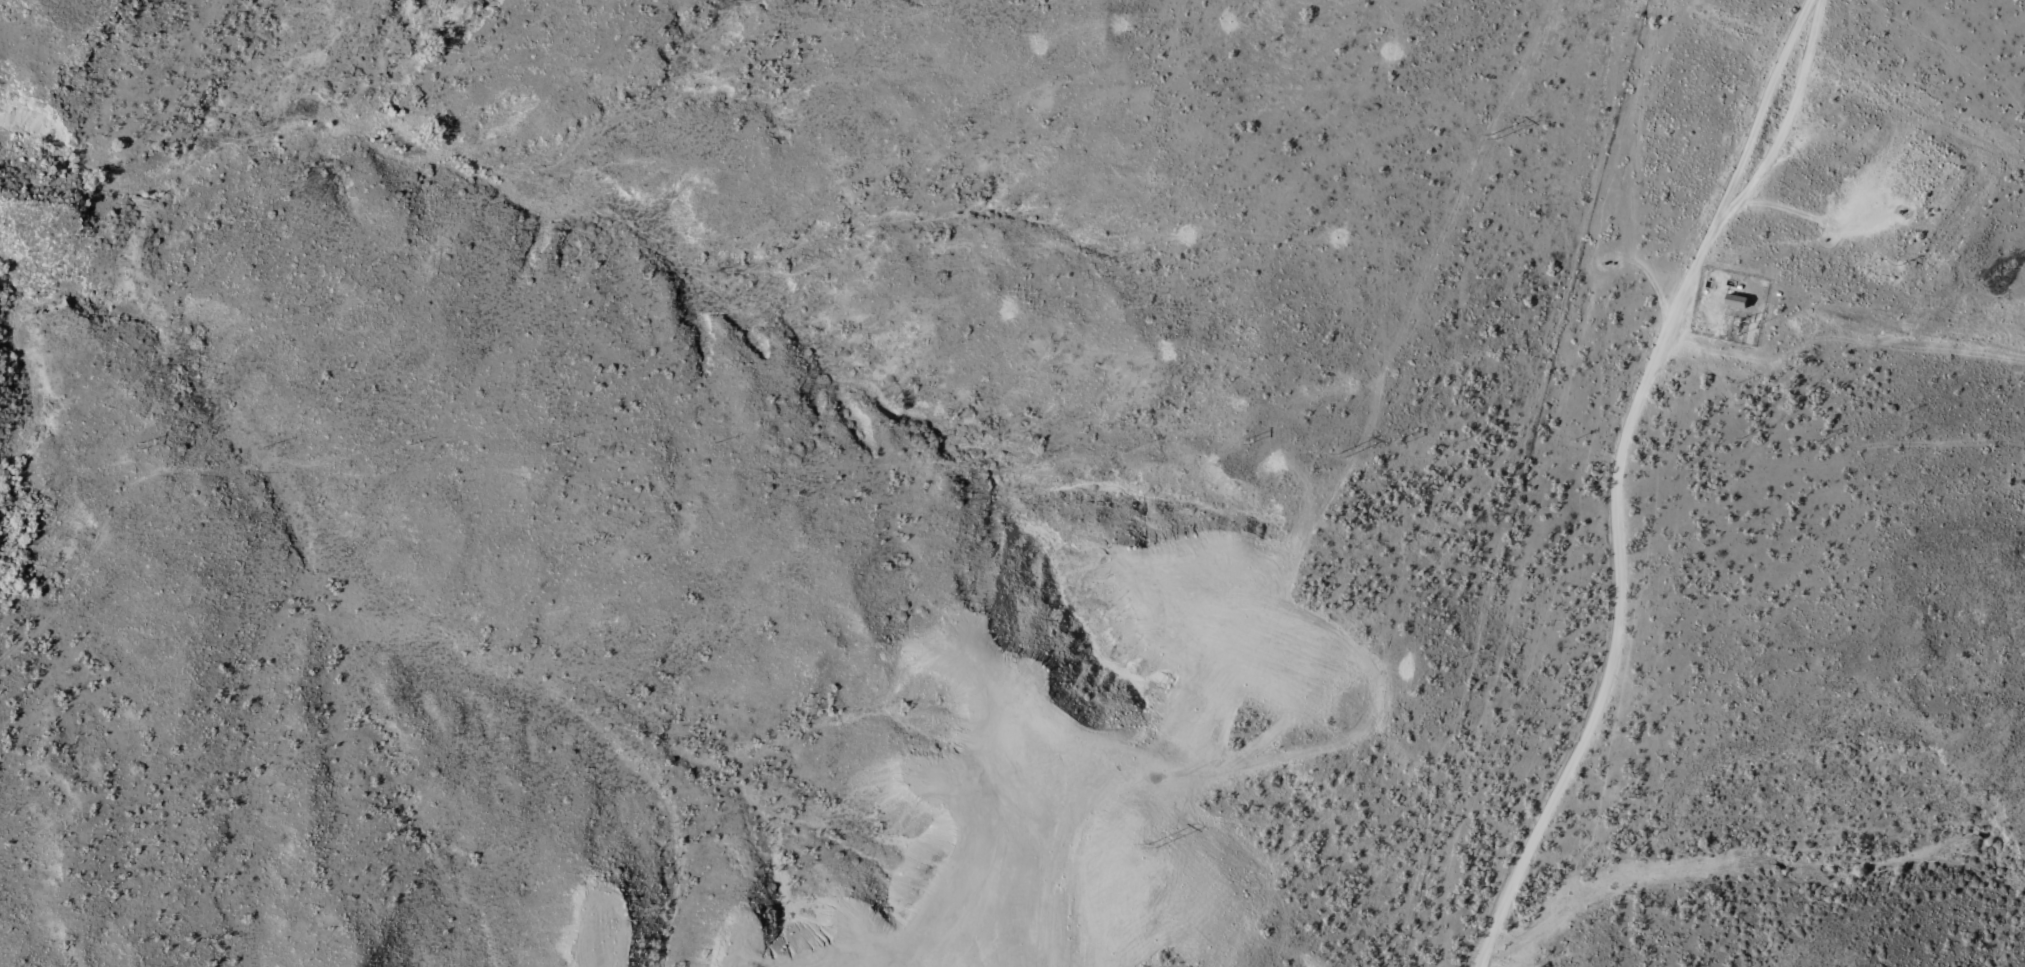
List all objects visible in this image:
power tower: (1492, 137)
power tower: (1341, 455)
power tower: (1152, 846)

